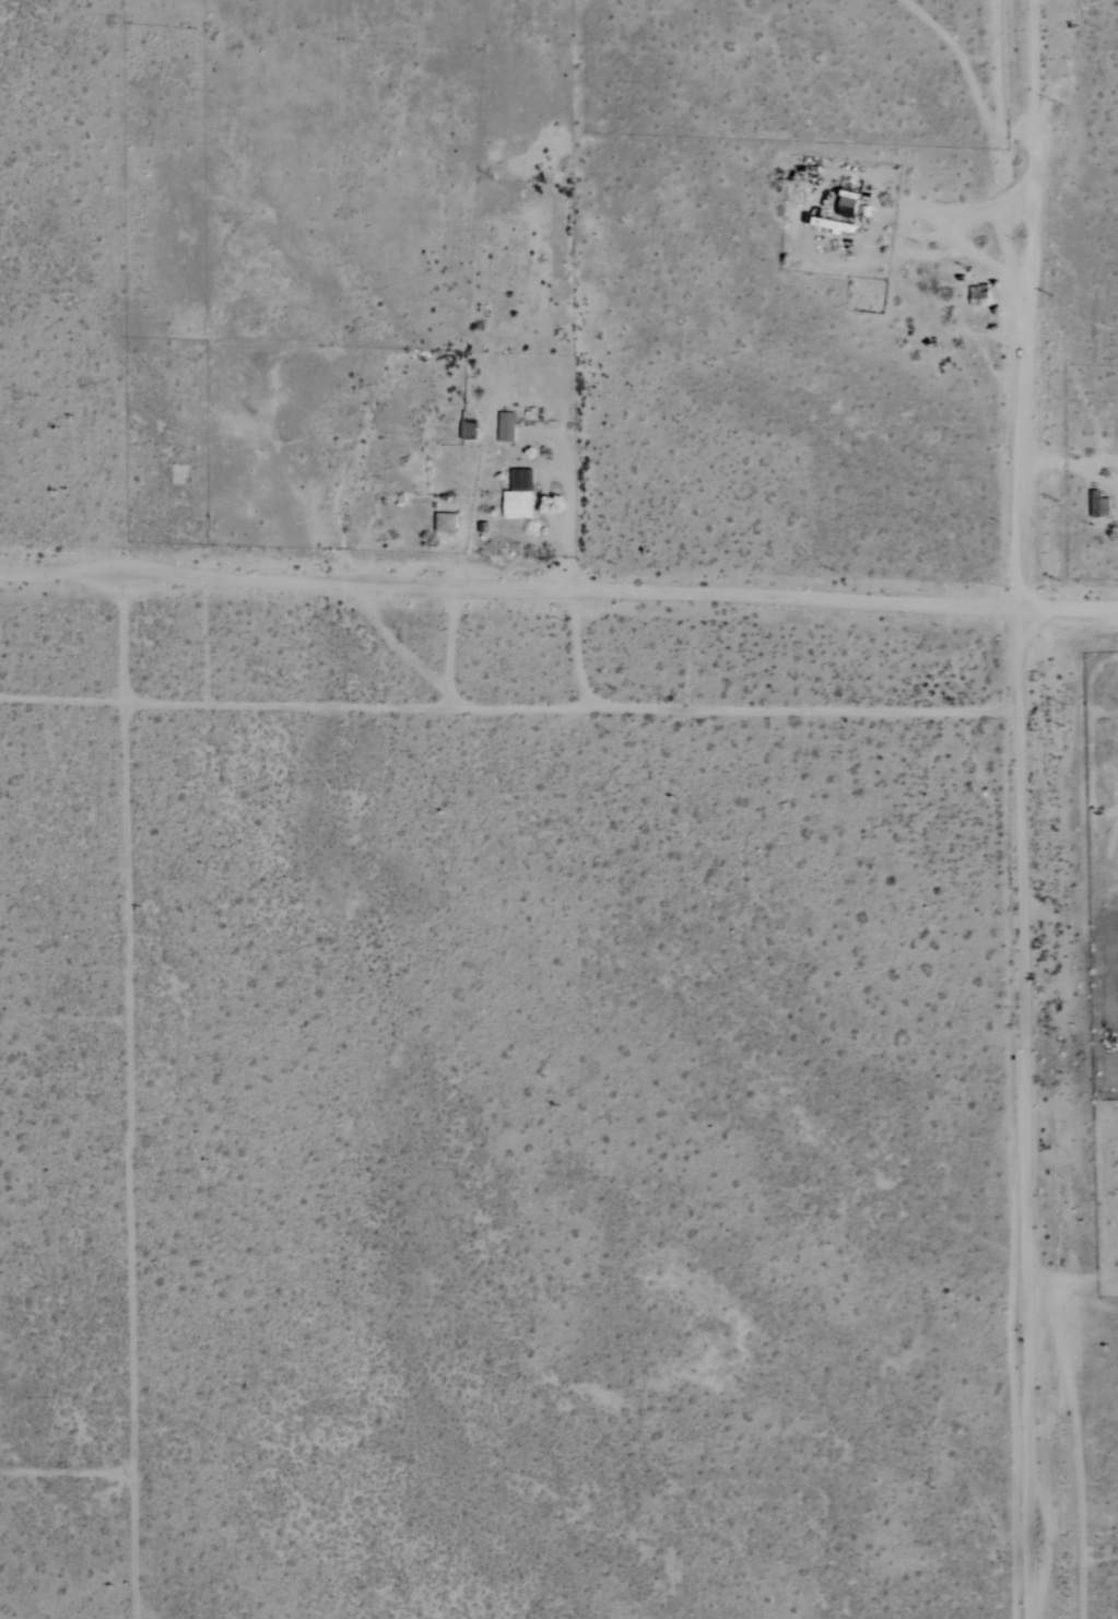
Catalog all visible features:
road: (986, 64)
building: (847, 207)
road: (1007, 304)
road: (556, 593)
road: (128, 1098)
road: (1024, 1114)
road: (63, 1476)

